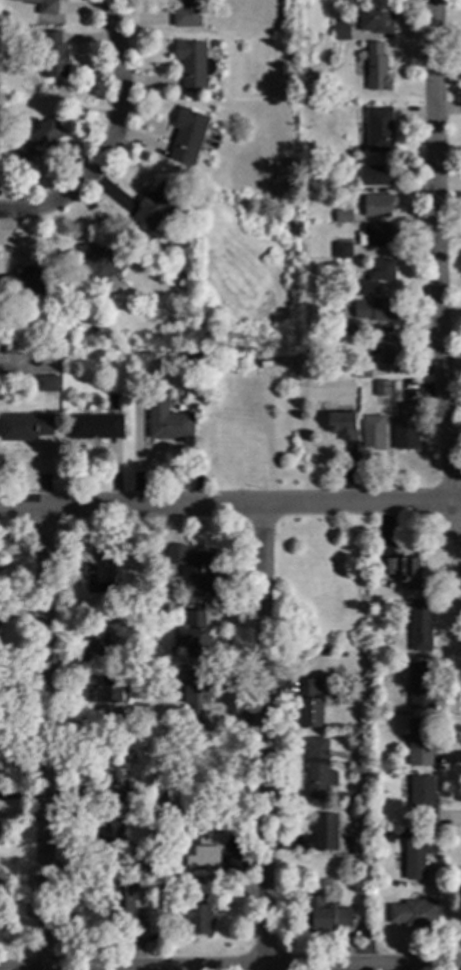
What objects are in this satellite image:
building: (42, 6)
building: (186, 14)
building: (373, 20)
building: (340, 31)
building: (53, 57)
building: (193, 66)
building: (375, 68)
building: (377, 131)
building: (187, 137)
building: (37, 139)
road: (118, 144)
building: (375, 177)
building: (342, 188)
building: (204, 198)
building: (158, 207)
building: (377, 207)
building: (343, 217)
building: (377, 237)
building: (342, 252)
building: (100, 262)
building: (372, 279)
building: (28, 283)
road: (441, 296)
building: (375, 311)
building: (350, 327)
building: (91, 332)
building: (57, 342)
power tower: (276, 347)
power tower: (247, 350)
building: (386, 351)
building: (361, 371)
building: (46, 384)
building: (382, 390)
building: (167, 422)
building: (342, 427)
building: (24, 428)
building: (94, 428)
building: (406, 429)
building: (372, 433)
road: (230, 505)
building: (194, 570)
building: (401, 572)
building: (102, 574)
building: (157, 613)
building: (420, 628)
building: (192, 636)
building: (96, 639)
building: (380, 671)
building: (420, 686)
building: (98, 691)
building: (194, 699)
building: (308, 706)
building: (118, 722)
road: (261, 737)
road: (41, 738)
building: (419, 743)
building: (111, 762)
power tower: (388, 768)
building: (317, 770)
power tower: (361, 772)
building: (119, 796)
building: (345, 797)
building: (423, 800)
building: (109, 834)
building: (321, 835)
building: (397, 836)
building: (192, 841)
building: (417, 853)
building: (140, 854)
building: (0, 891)
building: (124, 903)
building: (200, 909)
building: (413, 915)
building: (324, 916)
building: (136, 927)
road: (230, 964)

